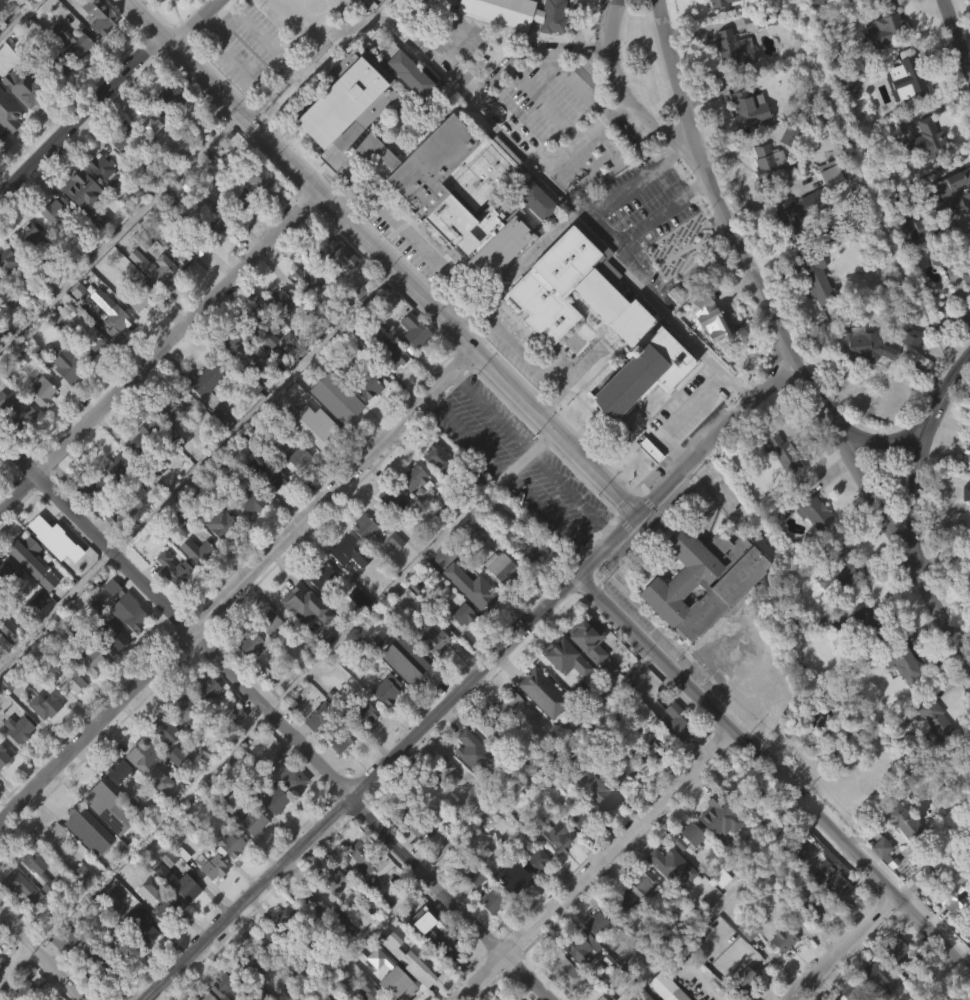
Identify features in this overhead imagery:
road: (272, 0)
building: (182, 1)
building: (747, 1)
building: (860, 1)
building: (718, 3)
building: (361, 7)
building: (519, 13)
building: (153, 14)
building: (99, 16)
road: (19, 19)
building: (757, 19)
building: (844, 19)
building: (888, 20)
road: (297, 21)
building: (713, 22)
road: (575, 23)
road: (958, 33)
road: (332, 35)
building: (507, 37)
building: (73, 41)
building: (96, 46)
road: (582, 47)
building: (734, 49)
building: (881, 57)
road: (441, 58)
building: (59, 64)
road: (673, 69)
road: (563, 70)
building: (409, 72)
road: (511, 72)
building: (908, 77)
building: (730, 81)
building: (22, 87)
road: (622, 87)
building: (173, 92)
road: (103, 94)
building: (57, 95)
building: (744, 102)
building: (900, 111)
building: (8, 112)
road: (502, 113)
building: (147, 117)
road: (592, 125)
building: (169, 128)
building: (797, 135)
building: (0, 136)
building: (123, 138)
building: (745, 140)
building: (925, 141)
building: (144, 152)
road: (699, 158)
building: (421, 161)
building: (768, 161)
building: (0, 167)
building: (104, 167)
building: (788, 167)
building: (120, 173)
building: (923, 173)
building: (257, 174)
road: (644, 176)
building: (84, 190)
building: (766, 193)
building: (954, 193)
building: (538, 199)
building: (102, 201)
building: (238, 201)
building: (826, 205)
building: (55, 209)
building: (256, 210)
building: (800, 211)
road: (665, 215)
building: (79, 222)
building: (211, 223)
building: (952, 225)
building: (236, 230)
building: (532, 233)
road: (409, 234)
building: (30, 236)
building: (53, 243)
road: (686, 245)
building: (792, 245)
road: (604, 250)
building: (95, 251)
road: (388, 251)
building: (189, 252)
building: (337, 252)
road: (528, 253)
building: (212, 256)
building: (916, 259)
building: (9, 262)
building: (27, 268)
building: (163, 269)
building: (138, 271)
building: (967, 272)
building: (309, 276)
building: (814, 279)
building: (185, 285)
building: (336, 286)
building: (933, 290)
building: (5, 291)
building: (135, 291)
building: (121, 297)
building: (281, 299)
building: (161, 301)
building: (964, 307)
building: (305, 309)
building: (111, 310)
building: (812, 311)
building: (713, 321)
building: (75, 322)
building: (258, 322)
building: (2, 329)
building: (415, 329)
building: (634, 330)
road: (679, 330)
building: (277, 332)
building: (138, 333)
building: (912, 336)
building: (235, 339)
building: (91, 340)
building: (107, 341)
building: (866, 345)
road: (161, 350)
building: (391, 352)
road: (527, 353)
building: (409, 361)
building: (266, 363)
building: (66, 364)
building: (907, 369)
building: (228, 372)
building: (89, 373)
building: (285, 373)
road: (803, 373)
building: (205, 378)
building: (861, 379)
building: (369, 380)
building: (386, 384)
road: (949, 389)
building: (19, 390)
building: (41, 390)
building: (296, 396)
building: (66, 398)
building: (346, 405)
building: (171, 409)
building: (16, 410)
building: (202, 411)
building: (365, 415)
road: (677, 416)
building: (38, 422)
building: (292, 428)
building: (318, 431)
road: (883, 436)
building: (143, 438)
building: (14, 441)
building: (165, 443)
building: (219, 443)
building: (652, 449)
building: (781, 452)
road: (532, 453)
building: (298, 456)
building: (437, 456)
building: (968, 456)
road: (200, 462)
building: (117, 464)
building: (314, 464)
building: (138, 469)
building: (267, 469)
road: (509, 476)
building: (410, 477)
building: (646, 481)
building: (778, 485)
building: (92, 487)
building: (965, 487)
building: (292, 490)
building: (433, 490)
road: (920, 493)
building: (114, 497)
building: (250, 499)
building: (391, 499)
building: (472, 510)
building: (811, 510)
building: (150, 511)
building: (412, 511)
building: (967, 511)
building: (89, 518)
building: (366, 526)
building: (387, 527)
building: (48, 530)
building: (246, 534)
building: (480, 534)
building: (810, 545)
building: (969, 549)
building: (177, 550)
building: (198, 551)
building: (533, 551)
building: (216, 554)
building: (362, 559)
building: (34, 561)
road: (411, 567)
building: (842, 567)
building: (173, 568)
building: (504, 569)
building: (51, 571)
building: (392, 573)
building: (454, 574)
building: (9, 576)
building: (322, 578)
building: (704, 578)
building: (193, 582)
road: (240, 582)
building: (346, 583)
building: (528, 583)
building: (28, 592)
building: (480, 592)
building: (496, 597)
building: (169, 599)
building: (6, 603)
building: (301, 603)
building: (833, 606)
building: (125, 607)
road: (941, 611)
building: (698, 612)
building: (463, 614)
building: (109, 620)
building: (271, 621)
building: (866, 626)
building: (355, 630)
building: (36, 632)
building: (113, 636)
building: (302, 636)
building: (586, 638)
building: (434, 640)
building: (251, 645)
building: (458, 645)
building: (861, 650)
building: (269, 653)
building: (562, 656)
building: (4, 660)
building: (89, 661)
building: (902, 662)
building: (110, 667)
building: (411, 668)
building: (584, 671)
building: (430, 672)
building: (248, 677)
road: (469, 680)
building: (71, 681)
building: (206, 687)
building: (387, 689)
building: (561, 689)
building: (541, 691)
building: (87, 693)
building: (899, 696)
building: (510, 703)
building: (44, 705)
building: (185, 711)
building: (267, 711)
building: (364, 712)
building: (68, 714)
building: (203, 717)
building: (935, 718)
road: (275, 719)
building: (383, 720)
building: (675, 722)
building: (539, 724)
building: (332, 726)
building: (491, 727)
building: (18, 729)
building: (163, 729)
building: (506, 735)
building: (41, 737)
building: (179, 741)
building: (361, 744)
building: (316, 747)
building: (467, 747)
building: (930, 750)
building: (810, 752)
building: (649, 753)
building: (673, 754)
building: (3, 756)
building: (178, 758)
building: (486, 758)
building: (161, 761)
building: (444, 768)
building: (121, 770)
building: (337, 771)
building: (624, 772)
road: (773, 772)
building: (289, 776)
building: (466, 780)
building: (741, 786)
building: (2, 787)
building: (172, 787)
building: (422, 789)
building: (98, 792)
building: (600, 795)
building: (145, 796)
building: (274, 800)
building: (441, 800)
building: (114, 802)
building: (618, 805)
building: (403, 808)
building: (75, 813)
building: (582, 818)
building: (420, 820)
building: (253, 822)
building: (453, 822)
building: (906, 823)
road: (476, 825)
building: (466, 829)
road: (148, 830)
building: (271, 831)
building: (423, 831)
building: (778, 831)
building: (687, 835)
building: (556, 836)
building: (55, 837)
building: (105, 839)
building: (231, 845)
building: (715, 848)
building: (899, 852)
building: (250, 853)
building: (669, 857)
building: (362, 858)
building: (84, 861)
building: (418, 862)
building: (536, 862)
road: (595, 865)
building: (39, 867)
building: (212, 867)
building: (685, 868)
building: (52, 869)
building: (553, 870)
building: (951, 874)
building: (228, 875)
building: (923, 876)
building: (333, 878)
building: (443, 879)
building: (877, 879)
building: (515, 882)
building: (643, 883)
building: (184, 888)
building: (165, 889)
building: (357, 890)
building: (533, 892)
building: (21, 893)
building: (209, 897)
building: (667, 897)
building: (158, 899)
building: (492, 901)
building: (622, 903)
building: (78, 905)
building: (309, 905)
building: (817, 907)
building: (329, 908)
building: (472, 909)
building: (513, 910)
building: (832, 912)
building: (176, 914)
building: (639, 915)
building: (945, 915)
building: (290, 917)
building: (367, 920)
building: (600, 920)
building: (19, 922)
building: (139, 927)
building: (153, 929)
building: (108, 932)
building: (488, 933)
building: (620, 933)
building: (307, 936)
building: (267, 939)
building: (439, 939)
building: (783, 939)
building: (811, 943)
road: (843, 947)
building: (283, 948)
building: (578, 949)
building: (122, 951)
building: (897, 951)
building: (341, 952)
building: (593, 953)
road: (38, 957)
building: (135, 957)
road: (15, 962)
building: (97, 964)
building: (248, 964)
building: (425, 967)
building: (562, 968)
building: (61, 971)
building: (261, 971)
building: (780, 972)
building: (579, 978)
building: (740, 979)
building: (877, 980)
building: (892, 981)
building: (402, 986)
building: (89, 987)
building: (225, 987)
building: (667, 987)
building: (27, 989)
building: (369, 989)
building: (853, 992)
building: (245, 993)
building: (606, 993)
building: (555, 994)
building: (206, 996)
building: (337, 996)
building: (870, 996)
building: (51, 998)
building: (391, 998)
building: (45, 999)
building: (743, 999)

